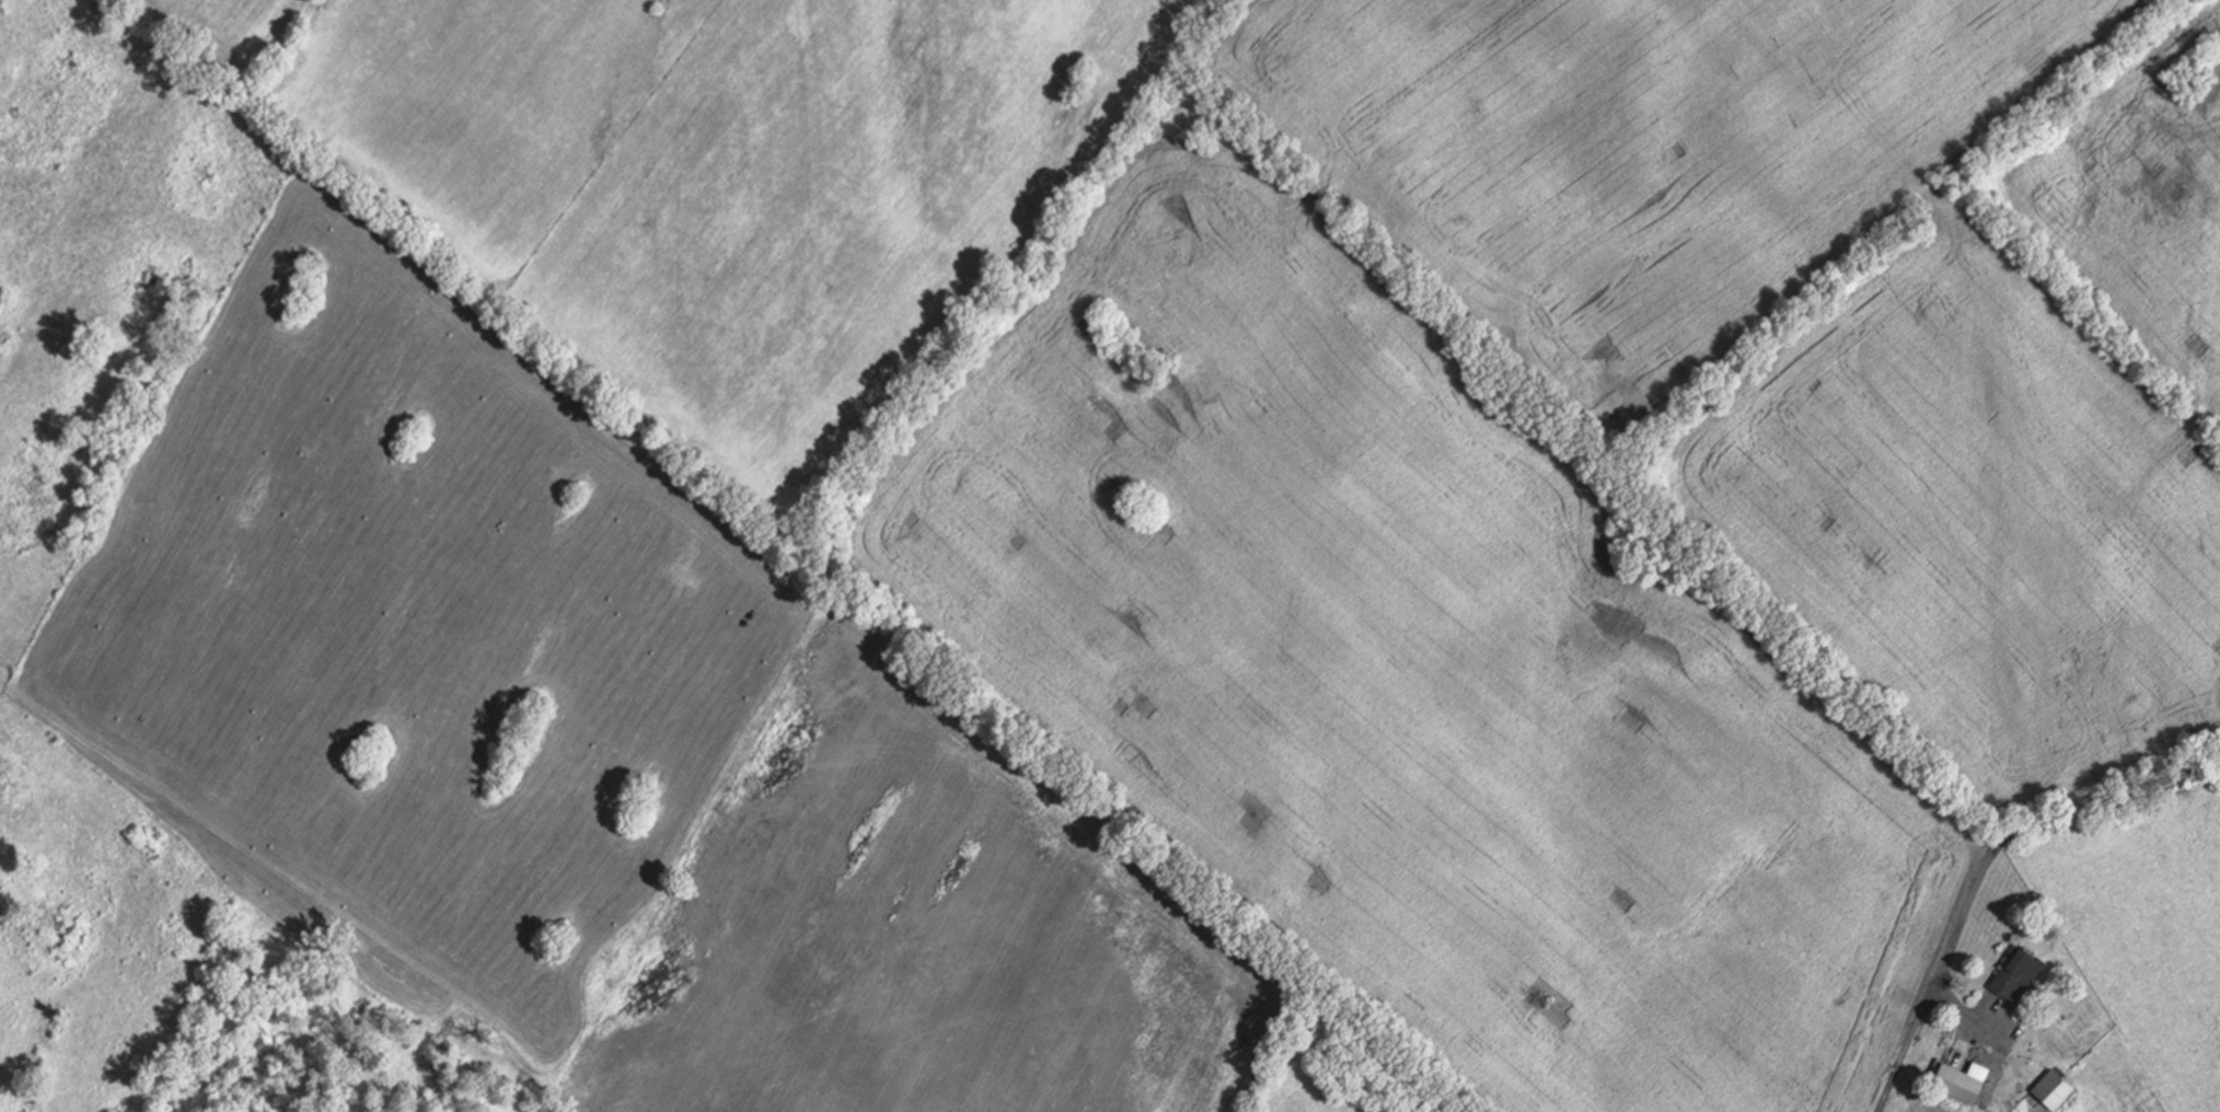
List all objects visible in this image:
road: (1978, 864)
building: (2009, 974)
building: (1952, 1080)
building: (2044, 1090)

